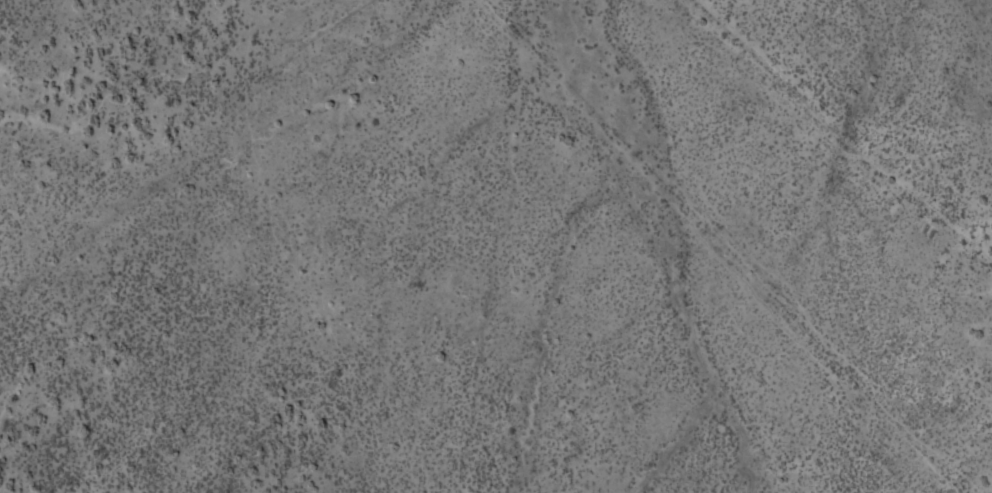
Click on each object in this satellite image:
road: (834, 131)

